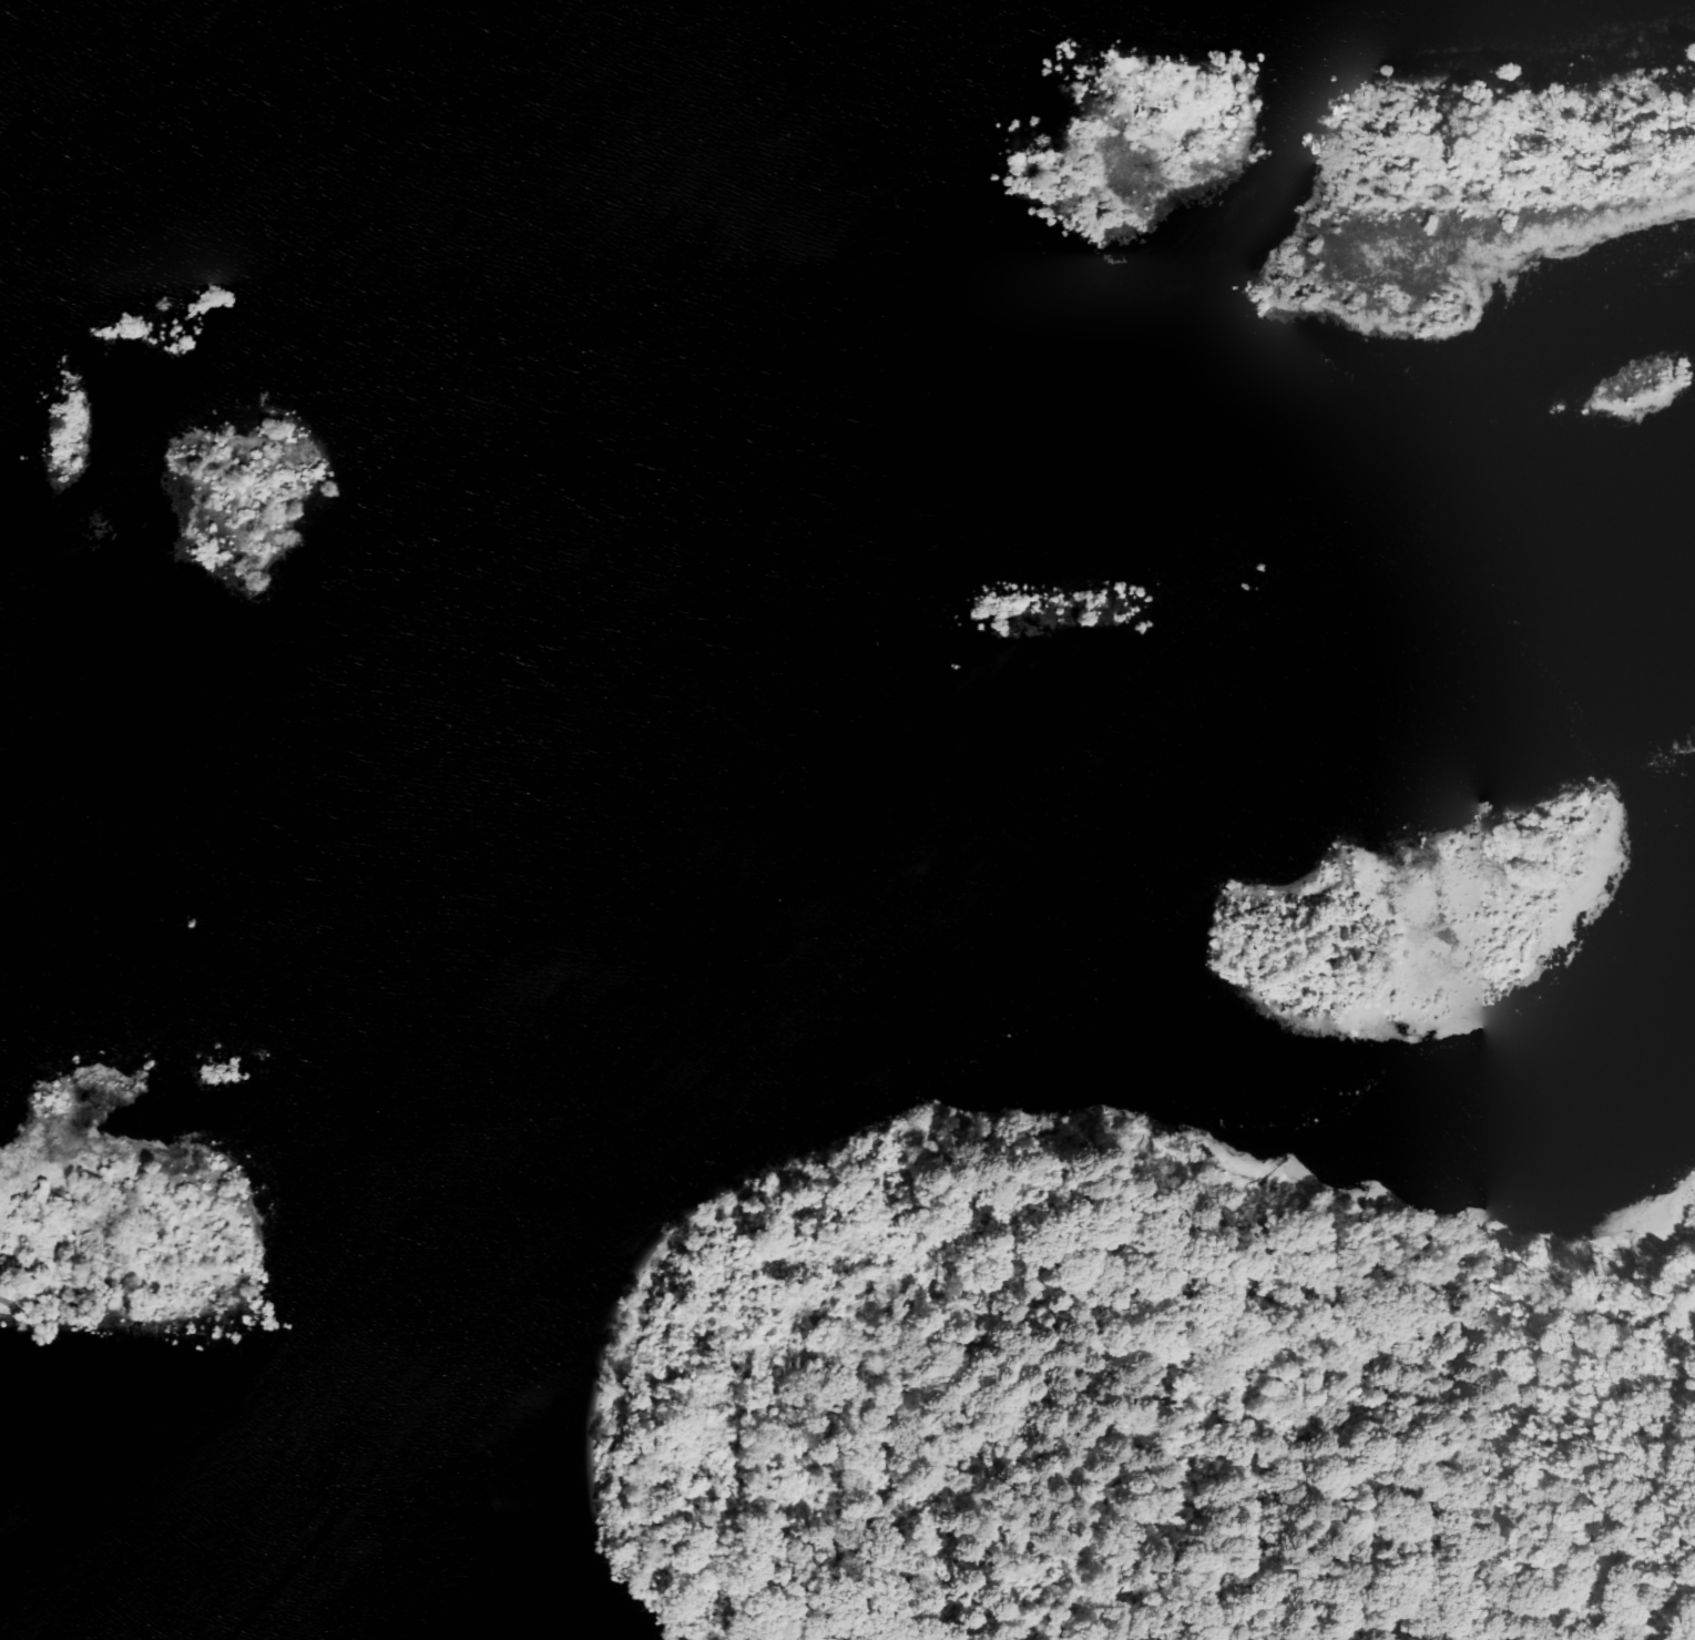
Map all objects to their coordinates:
river: (731, 839)

